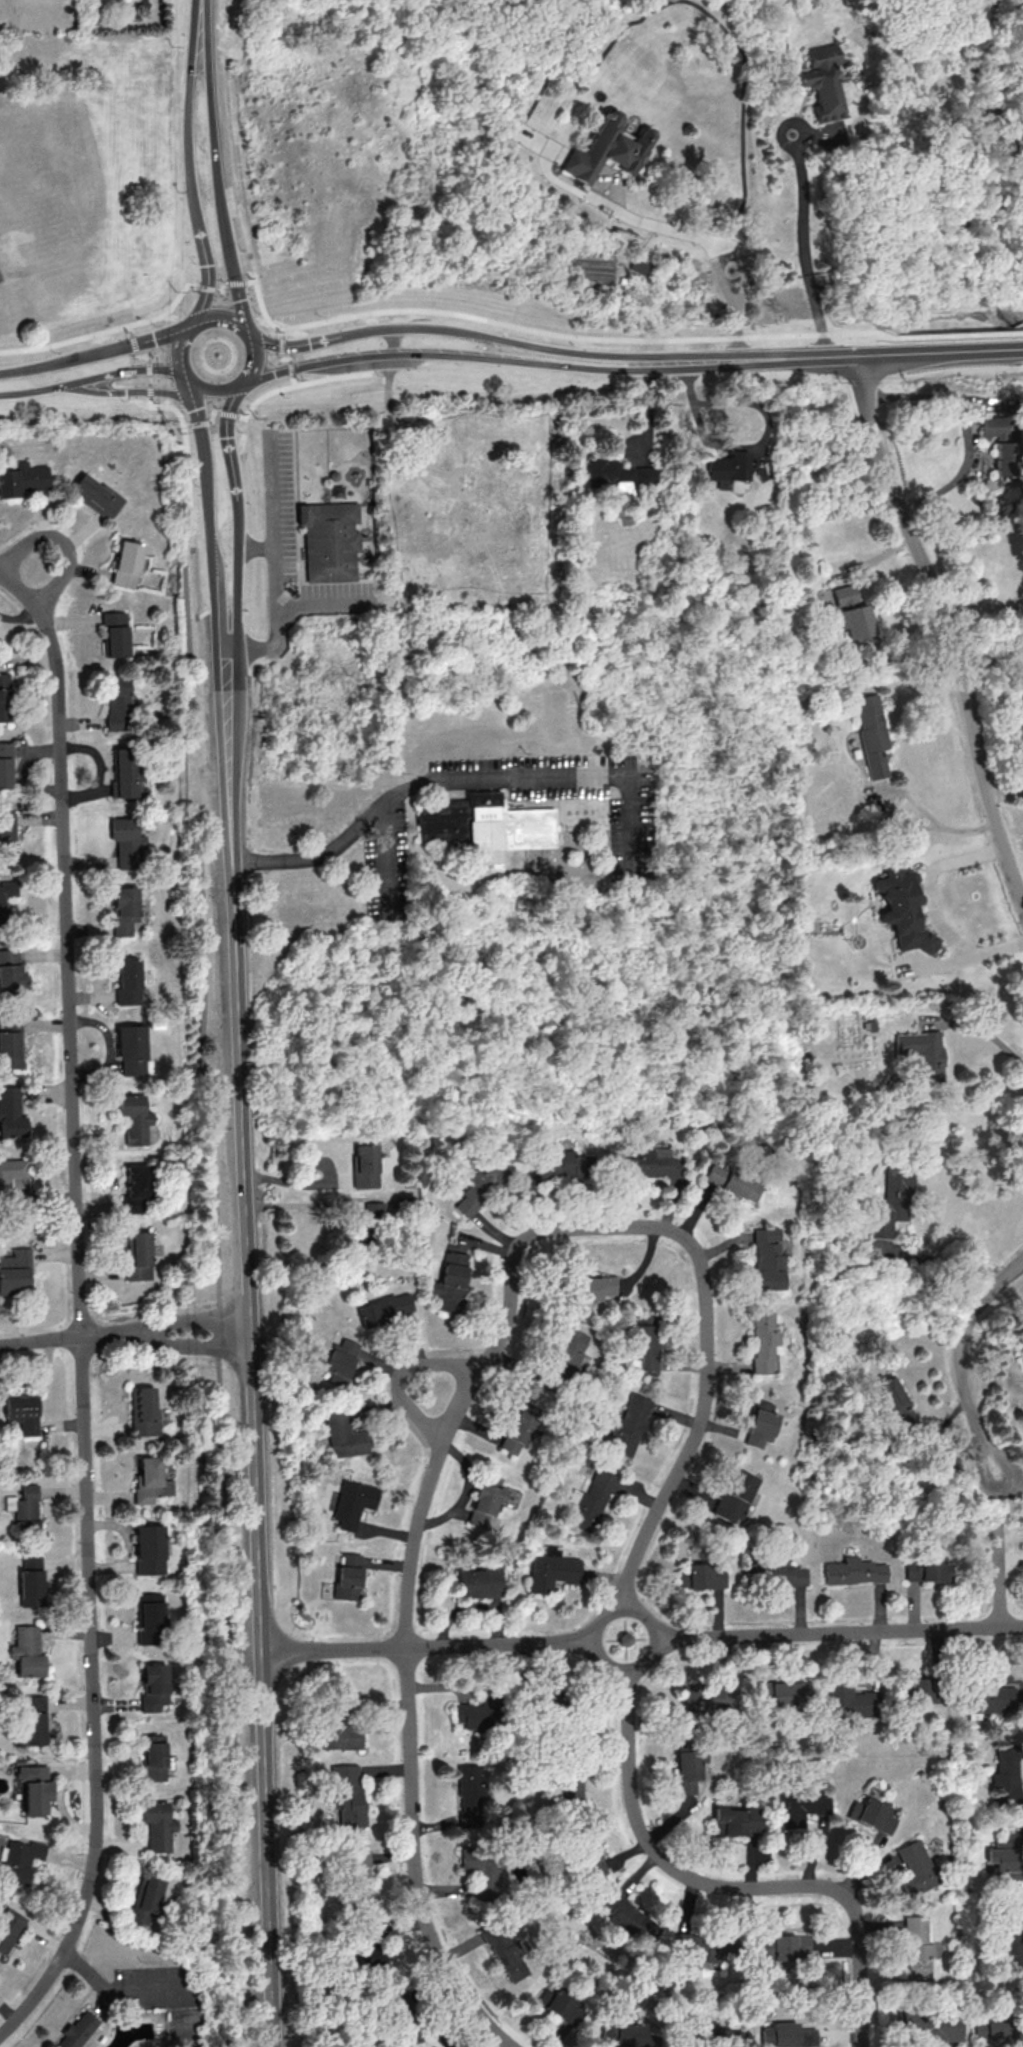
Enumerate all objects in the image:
road: (201, 18)
building: (821, 80)
road: (188, 130)
building: (607, 149)
road: (216, 184)
road: (713, 243)
road: (804, 249)
road: (204, 256)
parking lot: (0, 279)
road: (235, 282)
road: (222, 286)
road: (207, 287)
road: (200, 305)
road: (221, 317)
river: (1019, 326)
road: (383, 327)
road: (129, 329)
road: (106, 330)
road: (282, 331)
road: (554, 332)
road: (960, 334)
road: (132, 342)
road: (295, 343)
road: (281, 344)
road: (536, 345)
road: (177, 349)
road: (939, 351)
road: (94, 352)
road: (444, 353)
road: (141, 354)
road: (285, 357)
road: (773, 358)
road: (669, 360)
road: (252, 361)
road: (148, 367)
road: (290, 367)
road: (118, 370)
road: (183, 376)
road: (149, 379)
road: (293, 380)
road: (296, 384)
road: (29, 390)
road: (128, 390)
road: (149, 390)
road: (213, 393)
road: (192, 401)
road: (226, 413)
road: (210, 415)
road: (198, 423)
road: (185, 425)
building: (989, 426)
road: (964, 427)
road: (226, 442)
road: (747, 444)
road: (415, 458)
building: (1001, 458)
building: (727, 468)
building: (615, 474)
building: (23, 479)
road: (206, 494)
building: (96, 495)
parking lot: (281, 502)
road: (60, 538)
building: (330, 547)
building: (126, 563)
road: (236, 574)
road: (11, 582)
road: (275, 603)
road: (979, 604)
road: (218, 607)
building: (849, 612)
road: (951, 625)
building: (115, 633)
road: (990, 659)
building: (5, 697)
building: (118, 702)
road: (228, 712)
building: (872, 733)
building: (5, 764)
building: (125, 773)
road: (462, 781)
parking lot: (572, 788)
road: (1005, 789)
road: (900, 791)
building: (487, 828)
building: (7, 834)
road: (388, 838)
building: (127, 841)
parking lot: (392, 860)
building: (6, 892)
road: (933, 908)
building: (124, 909)
building: (903, 909)
building: (11, 970)
building: (128, 981)
road: (202, 991)
road: (983, 1029)
building: (11, 1043)
building: (131, 1048)
building: (923, 1053)
building: (11, 1112)
building: (135, 1118)
building: (650, 1164)
building: (559, 1165)
building: (365, 1166)
building: (10, 1175)
building: (732, 1181)
road: (319, 1182)
building: (480, 1187)
building: (136, 1188)
building: (892, 1201)
building: (374, 1209)
building: (139, 1256)
building: (767, 1258)
road: (942, 1259)
building: (15, 1271)
building: (451, 1282)
building: (592, 1287)
building: (384, 1308)
road: (181, 1319)
road: (81, 1323)
road: (57, 1339)
building: (763, 1341)
road: (183, 1342)
building: (567, 1353)
building: (340, 1361)
road: (959, 1364)
road: (400, 1373)
road: (38, 1379)
building: (895, 1402)
building: (142, 1411)
building: (21, 1412)
road: (254, 1412)
building: (760, 1423)
building: (626, 1425)
building: (519, 1427)
building: (343, 1434)
road: (690, 1448)
building: (150, 1480)
road: (1011, 1482)
road: (1011, 1488)
road: (467, 1491)
building: (734, 1495)
building: (484, 1499)
building: (591, 1500)
building: (352, 1502)
road: (1004, 1505)
building: (24, 1508)
road: (415, 1541)
building: (148, 1549)
building: (924, 1568)
building: (551, 1569)
building: (853, 1571)
road: (999, 1574)
building: (347, 1575)
building: (786, 1575)
building: (700, 1576)
building: (31, 1580)
building: (478, 1581)
building: (148, 1616)
road: (653, 1633)
road: (838, 1633)
road: (429, 1647)
building: (27, 1651)
building: (153, 1686)
building: (920, 1690)
building: (780, 1692)
building: (702, 1696)
building: (989, 1699)
building: (849, 1700)
building: (475, 1713)
building: (33, 1720)
building: (339, 1733)
building: (153, 1757)
building: (689, 1765)
building: (1006, 1772)
building: (34, 1787)
building: (569, 1789)
building: (347, 1794)
building: (471, 1796)
building: (801, 1806)
building: (871, 1814)
building: (736, 1821)
building: (157, 1825)
building: (1007, 1856)
building: (588, 1859)
building: (18, 1860)
road: (861, 1862)
building: (915, 1868)
building: (482, 1870)
building: (359, 1879)
road: (729, 1886)
building: (145, 1900)
building: (629, 1918)
building: (8, 1927)
building: (1012, 1934)
building: (699, 1944)
building: (917, 1947)
building: (785, 1949)
building: (504, 1950)
building: (369, 1956)
road: (98, 1972)
building: (562, 2004)
building: (930, 2025)
building: (989, 2028)
building: (77, 2030)
building: (627, 2034)
building: (721, 2035)
building: (787, 2035)
road: (505, 2046)

